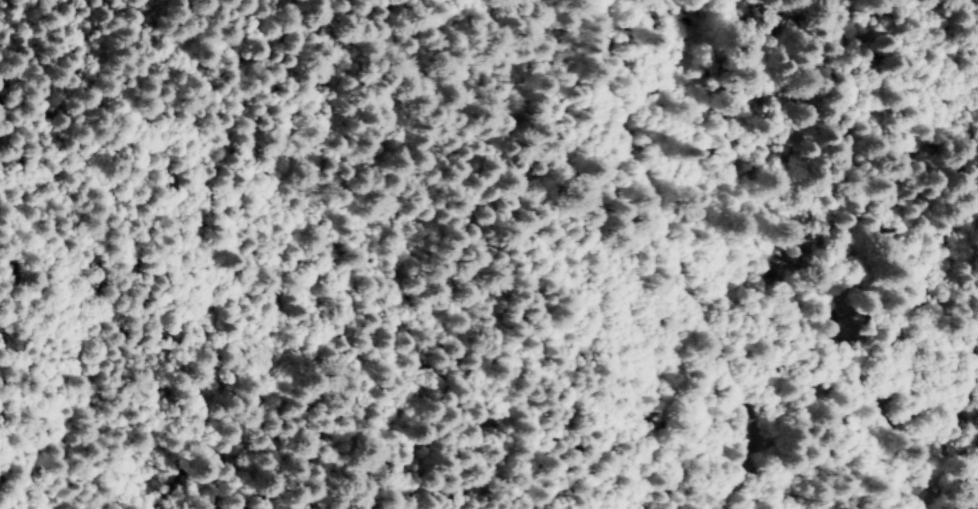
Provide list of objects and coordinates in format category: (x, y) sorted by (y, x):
road: (673, 253)

